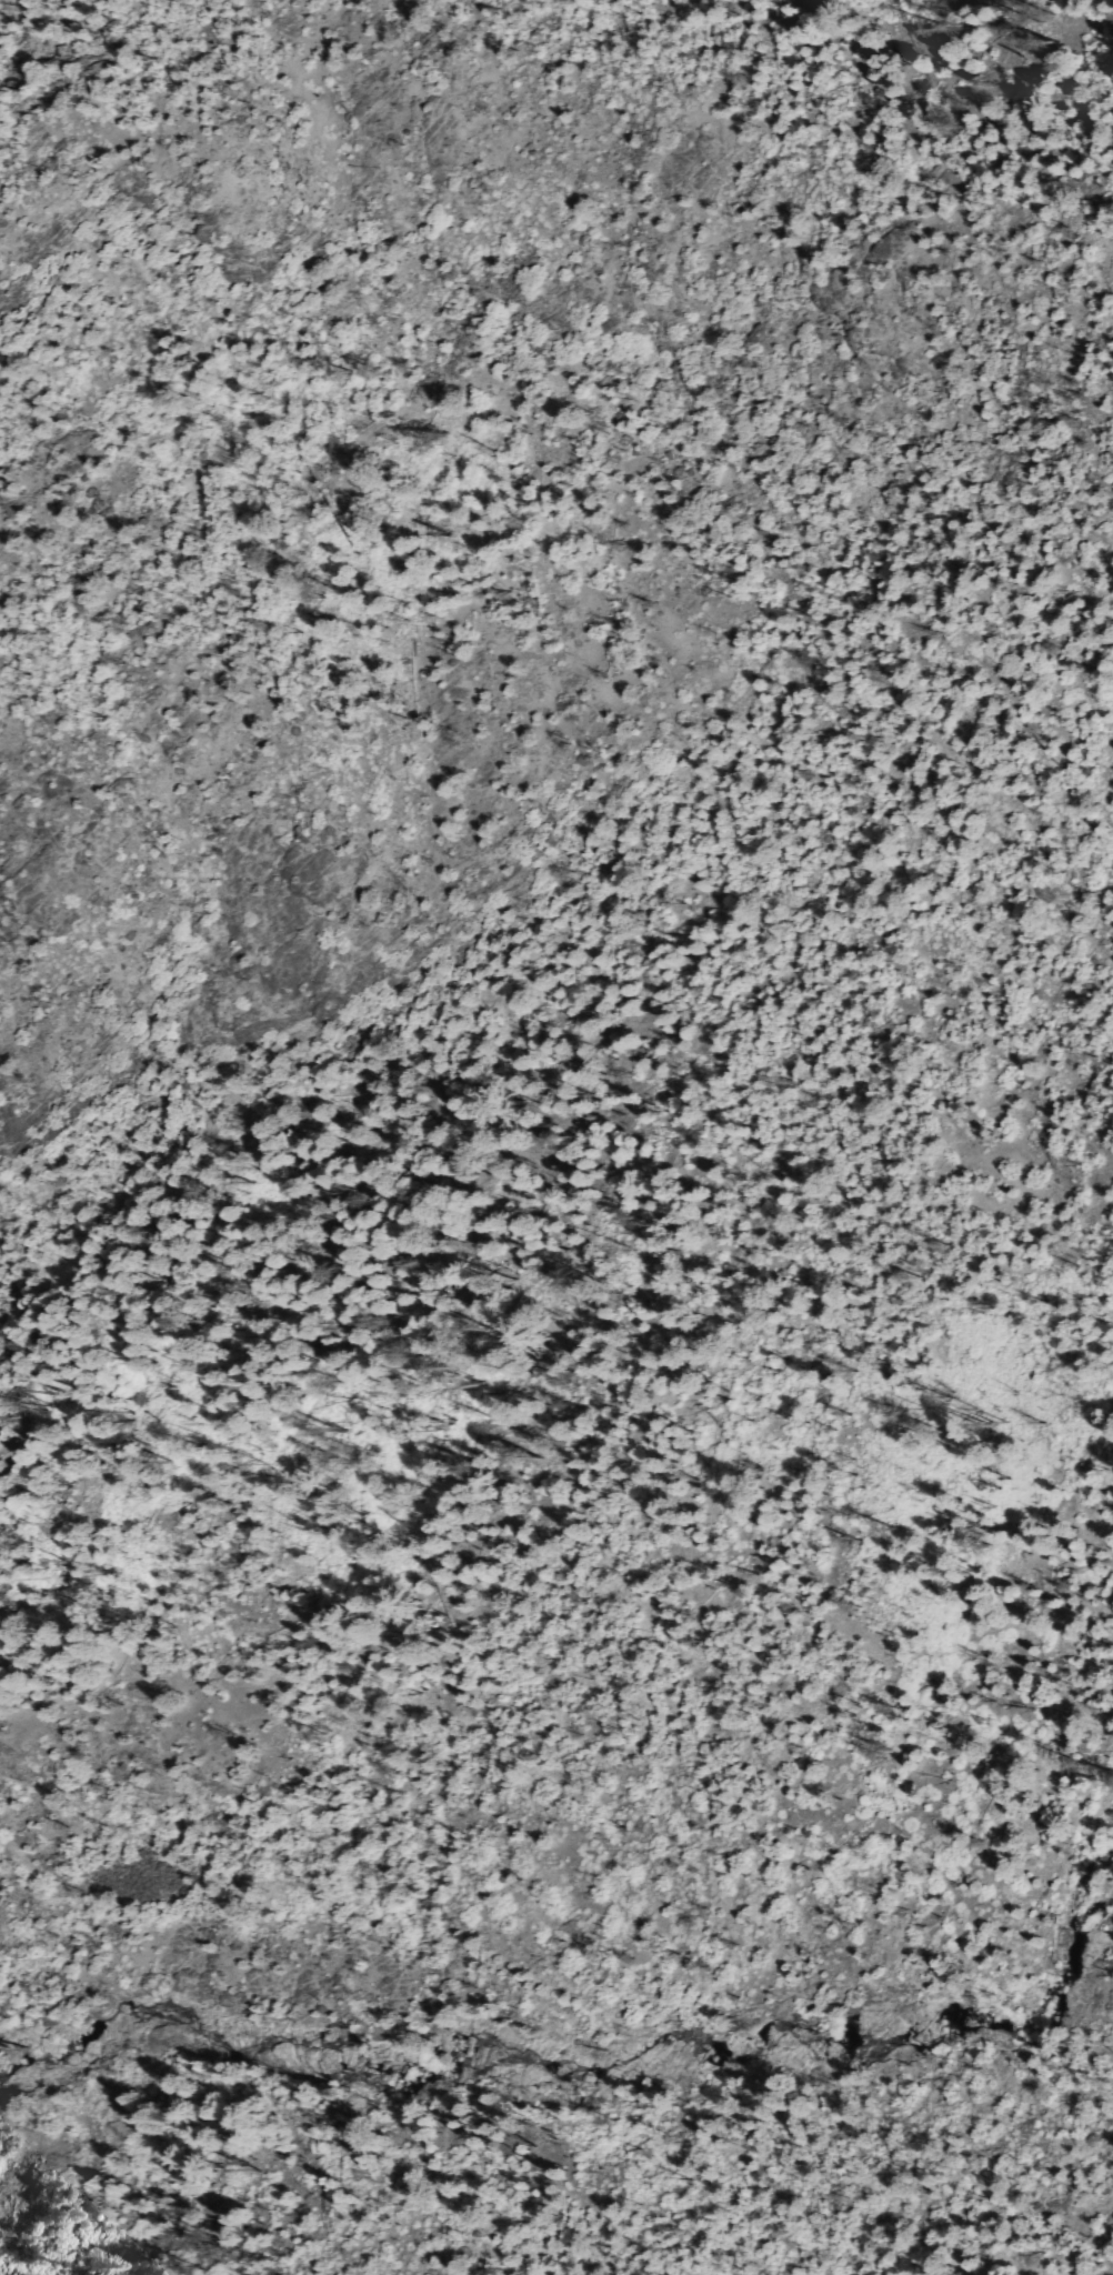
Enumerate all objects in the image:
road: (1063, 2237)

